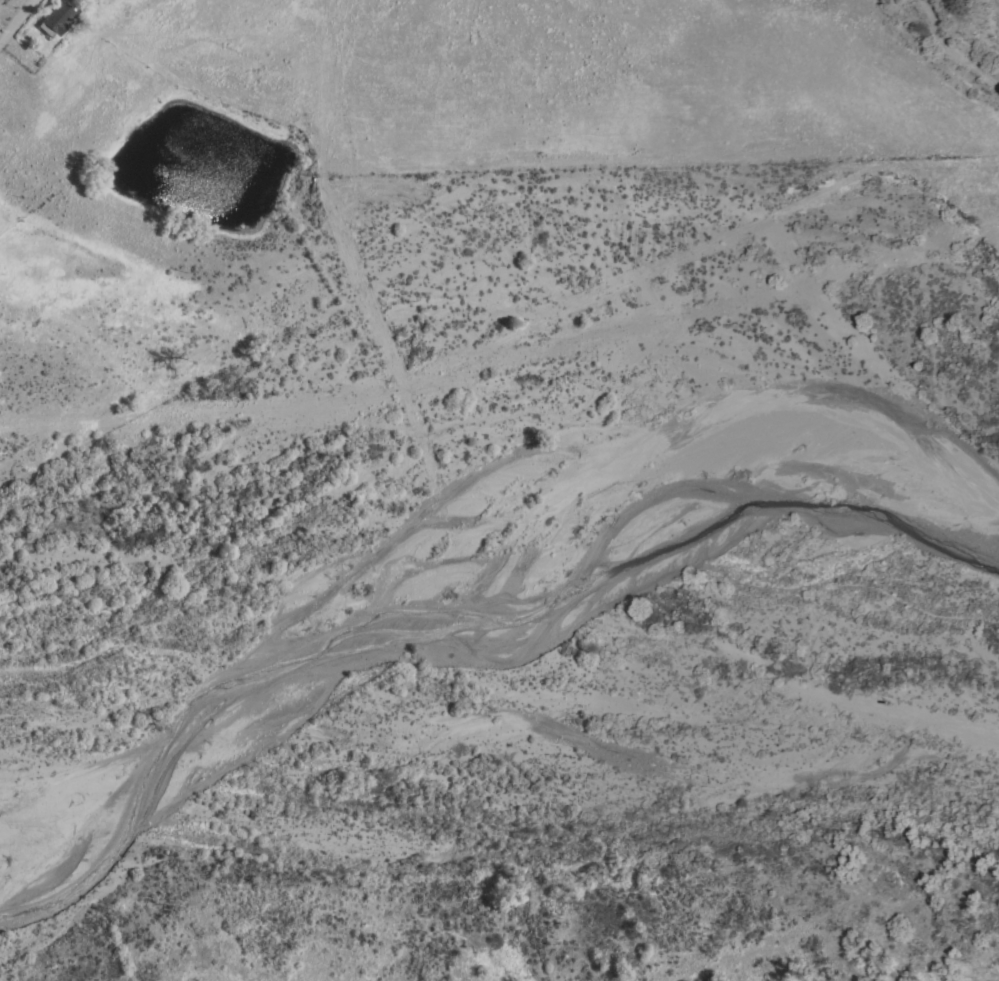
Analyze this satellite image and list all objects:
building: (57, 17)
river: (177, 551)
river: (871, 663)
river: (542, 676)

